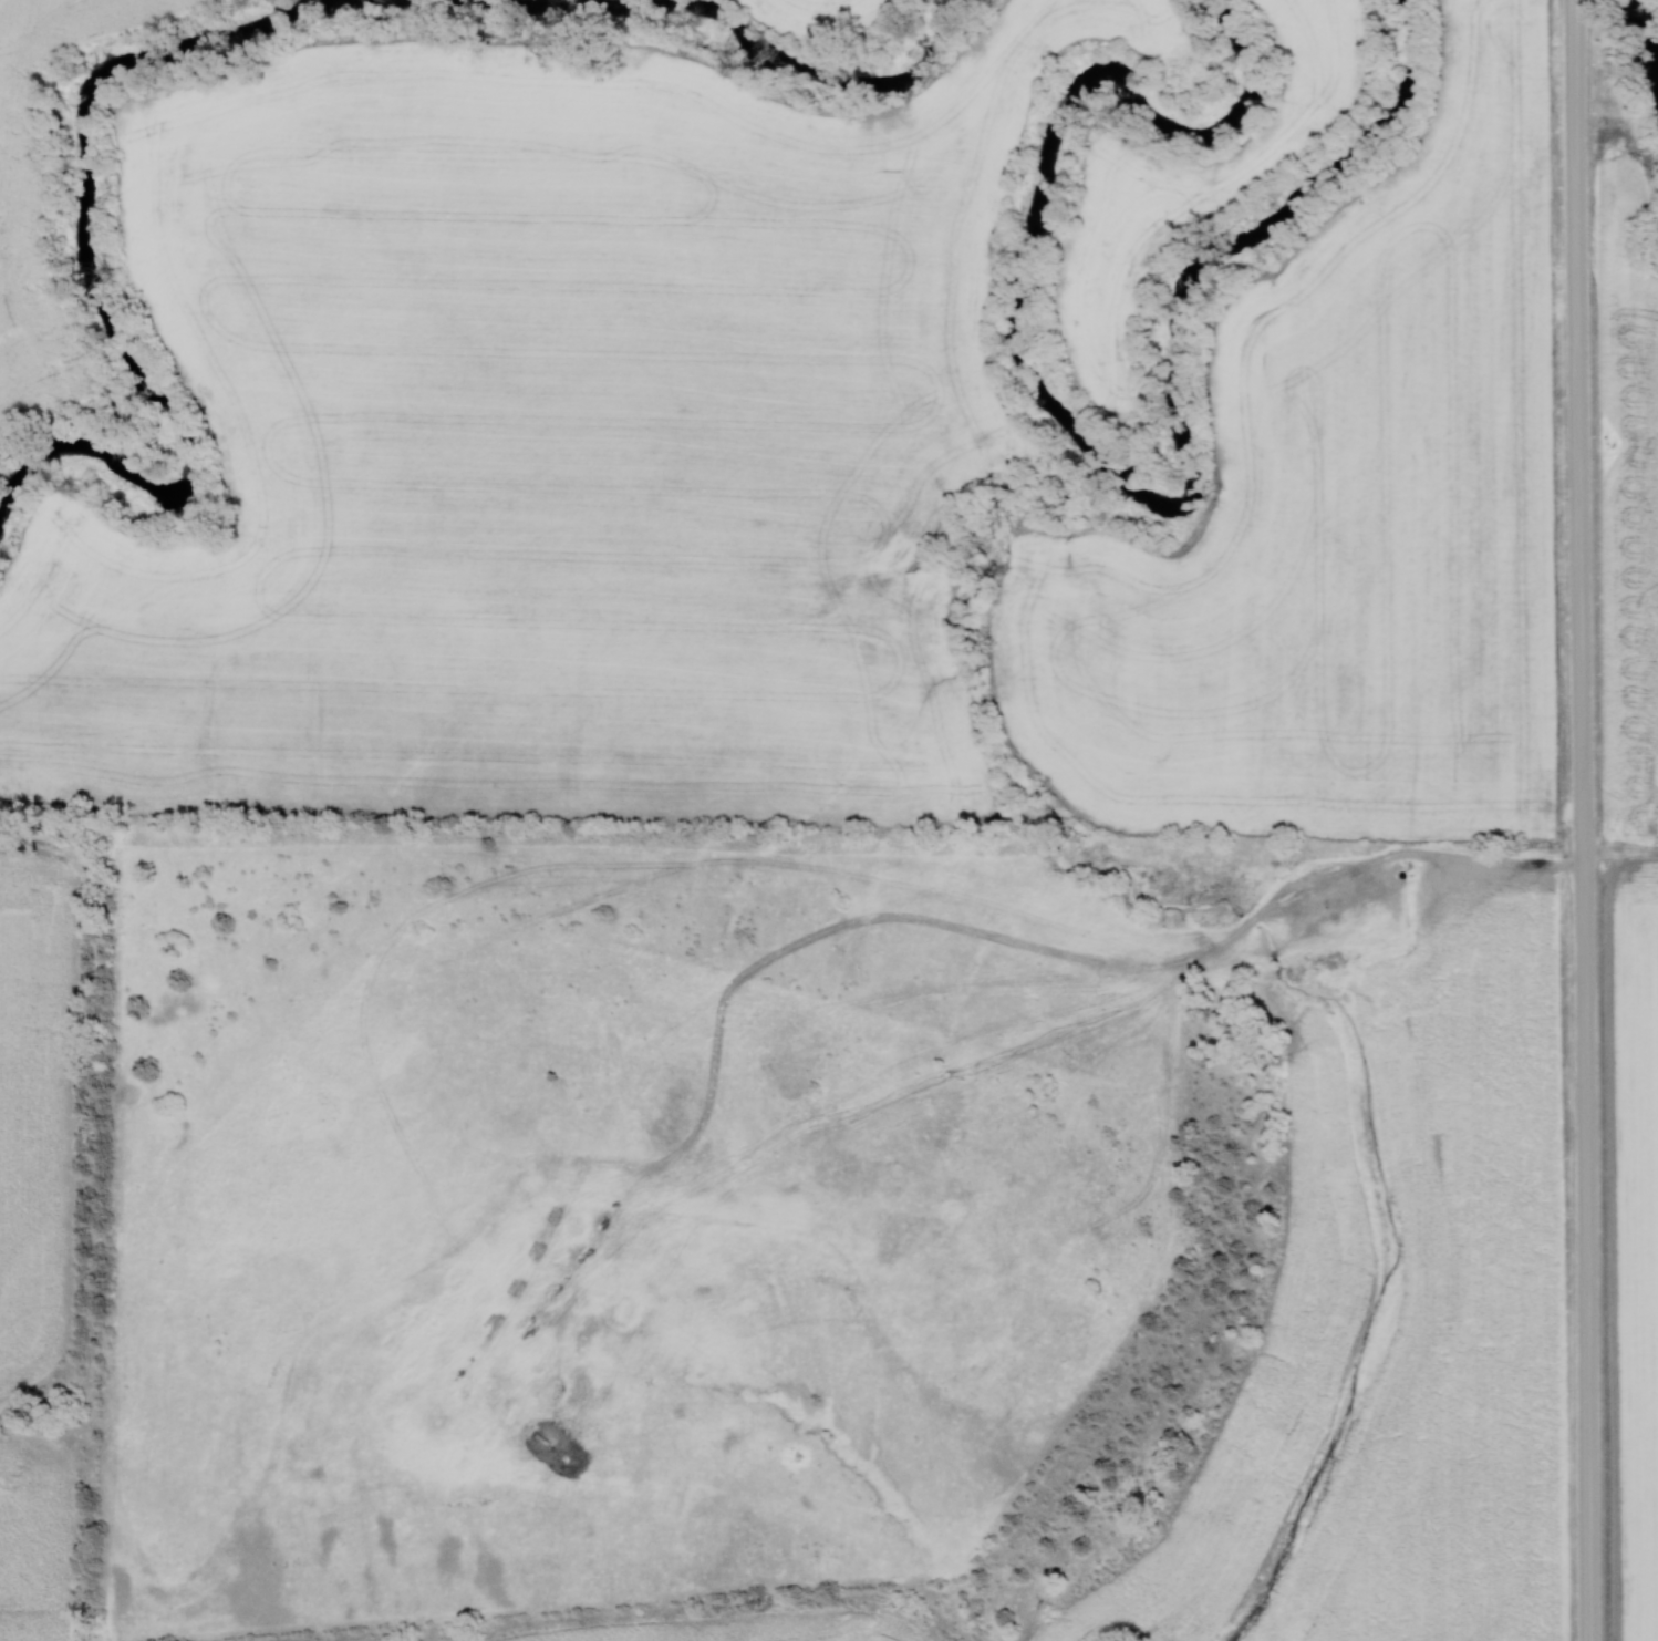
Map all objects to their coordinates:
river: (238, 41)
river: (1646, 44)
river: (1112, 483)
road: (1578, 820)

